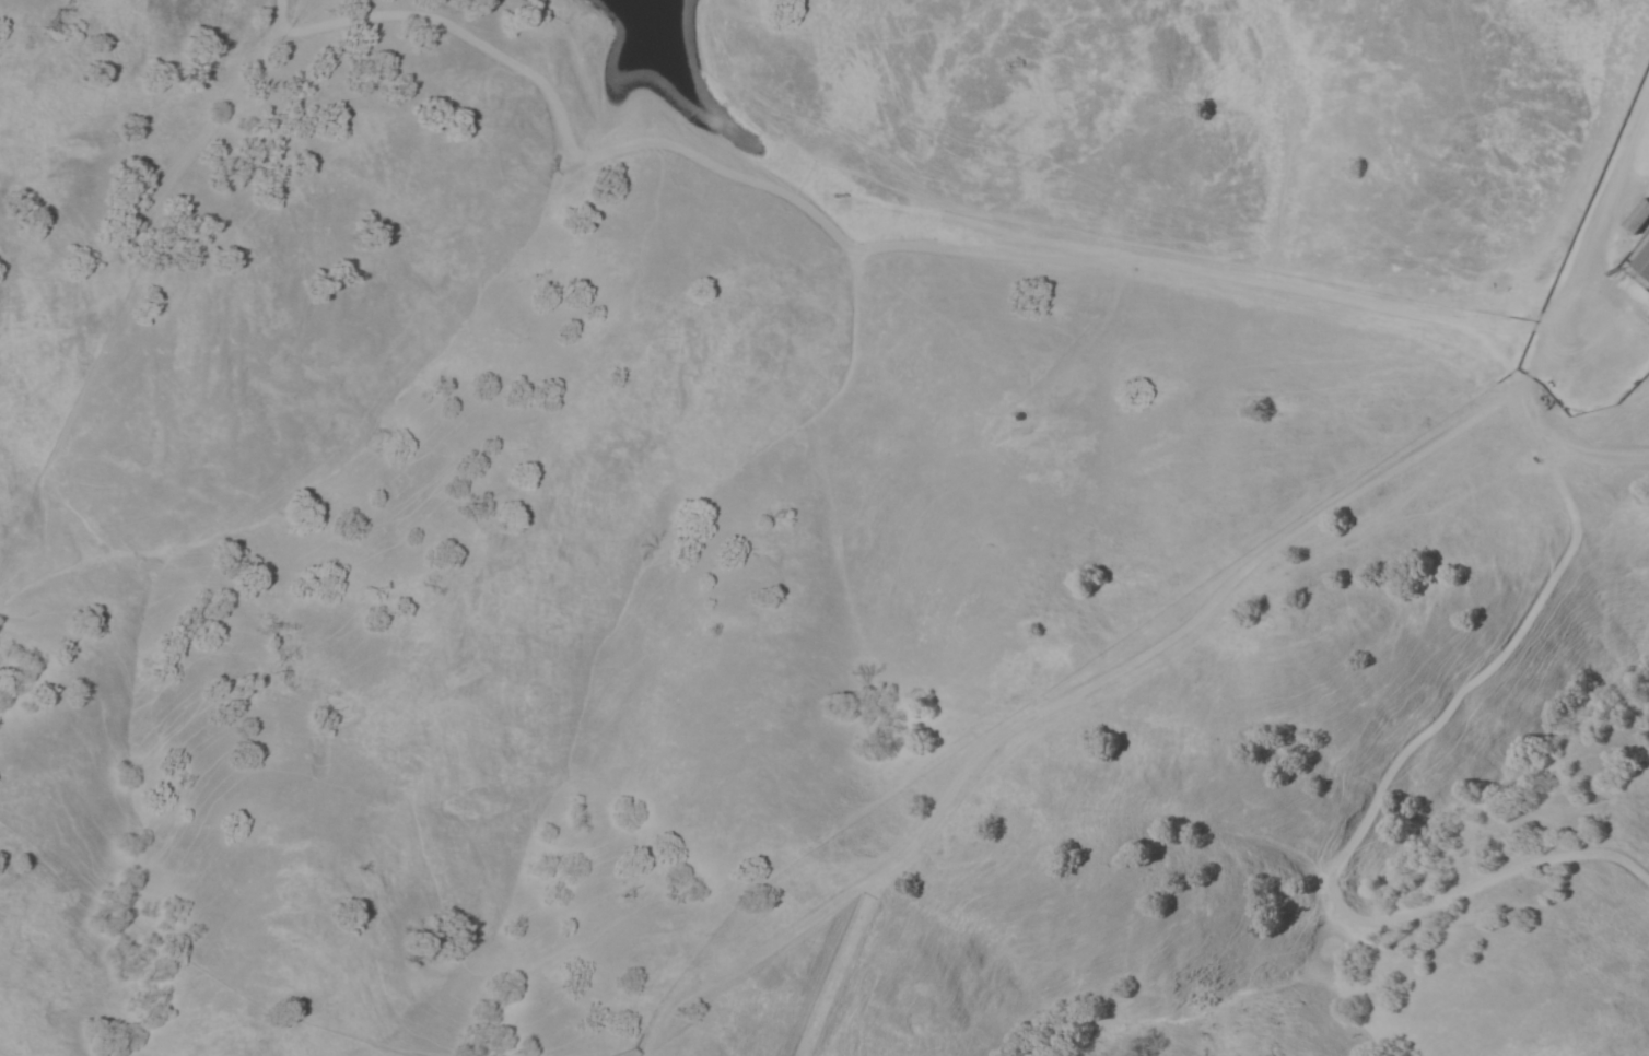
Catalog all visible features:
road: (1589, 232)
road: (858, 248)
building: (1642, 262)
road: (1563, 439)
road: (1255, 555)
road: (1375, 799)
road: (821, 912)

